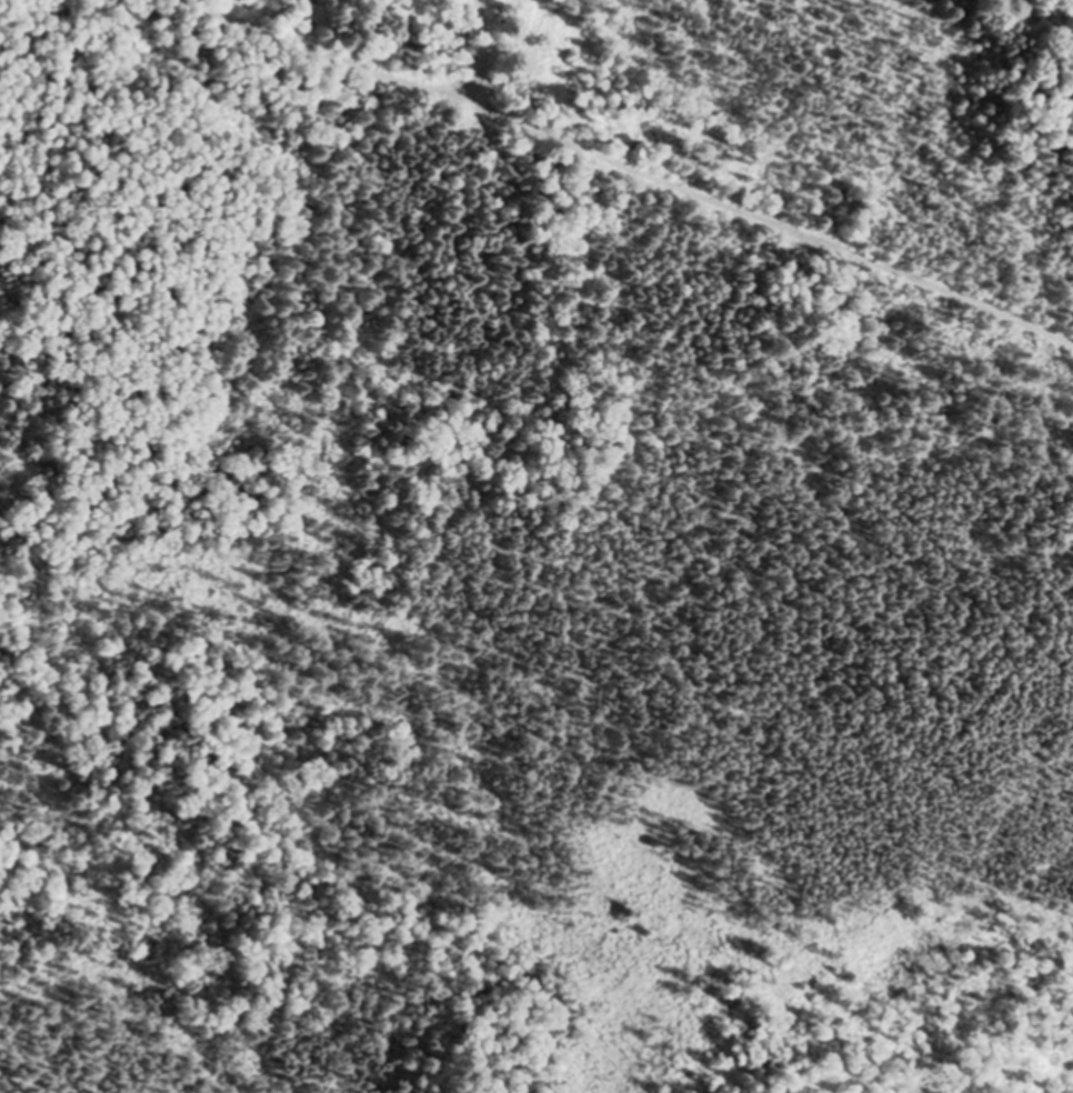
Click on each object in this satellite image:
road: (1060, 1074)

